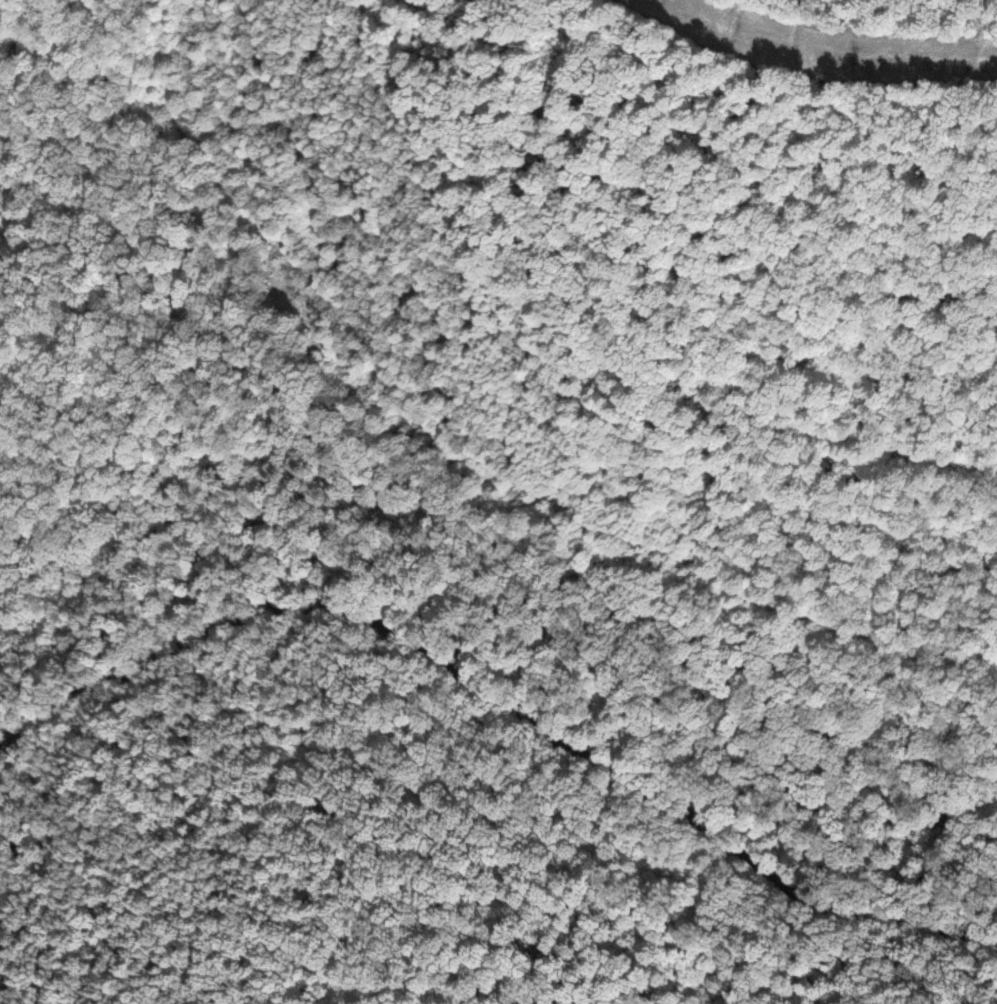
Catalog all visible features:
road: (498, 688)

